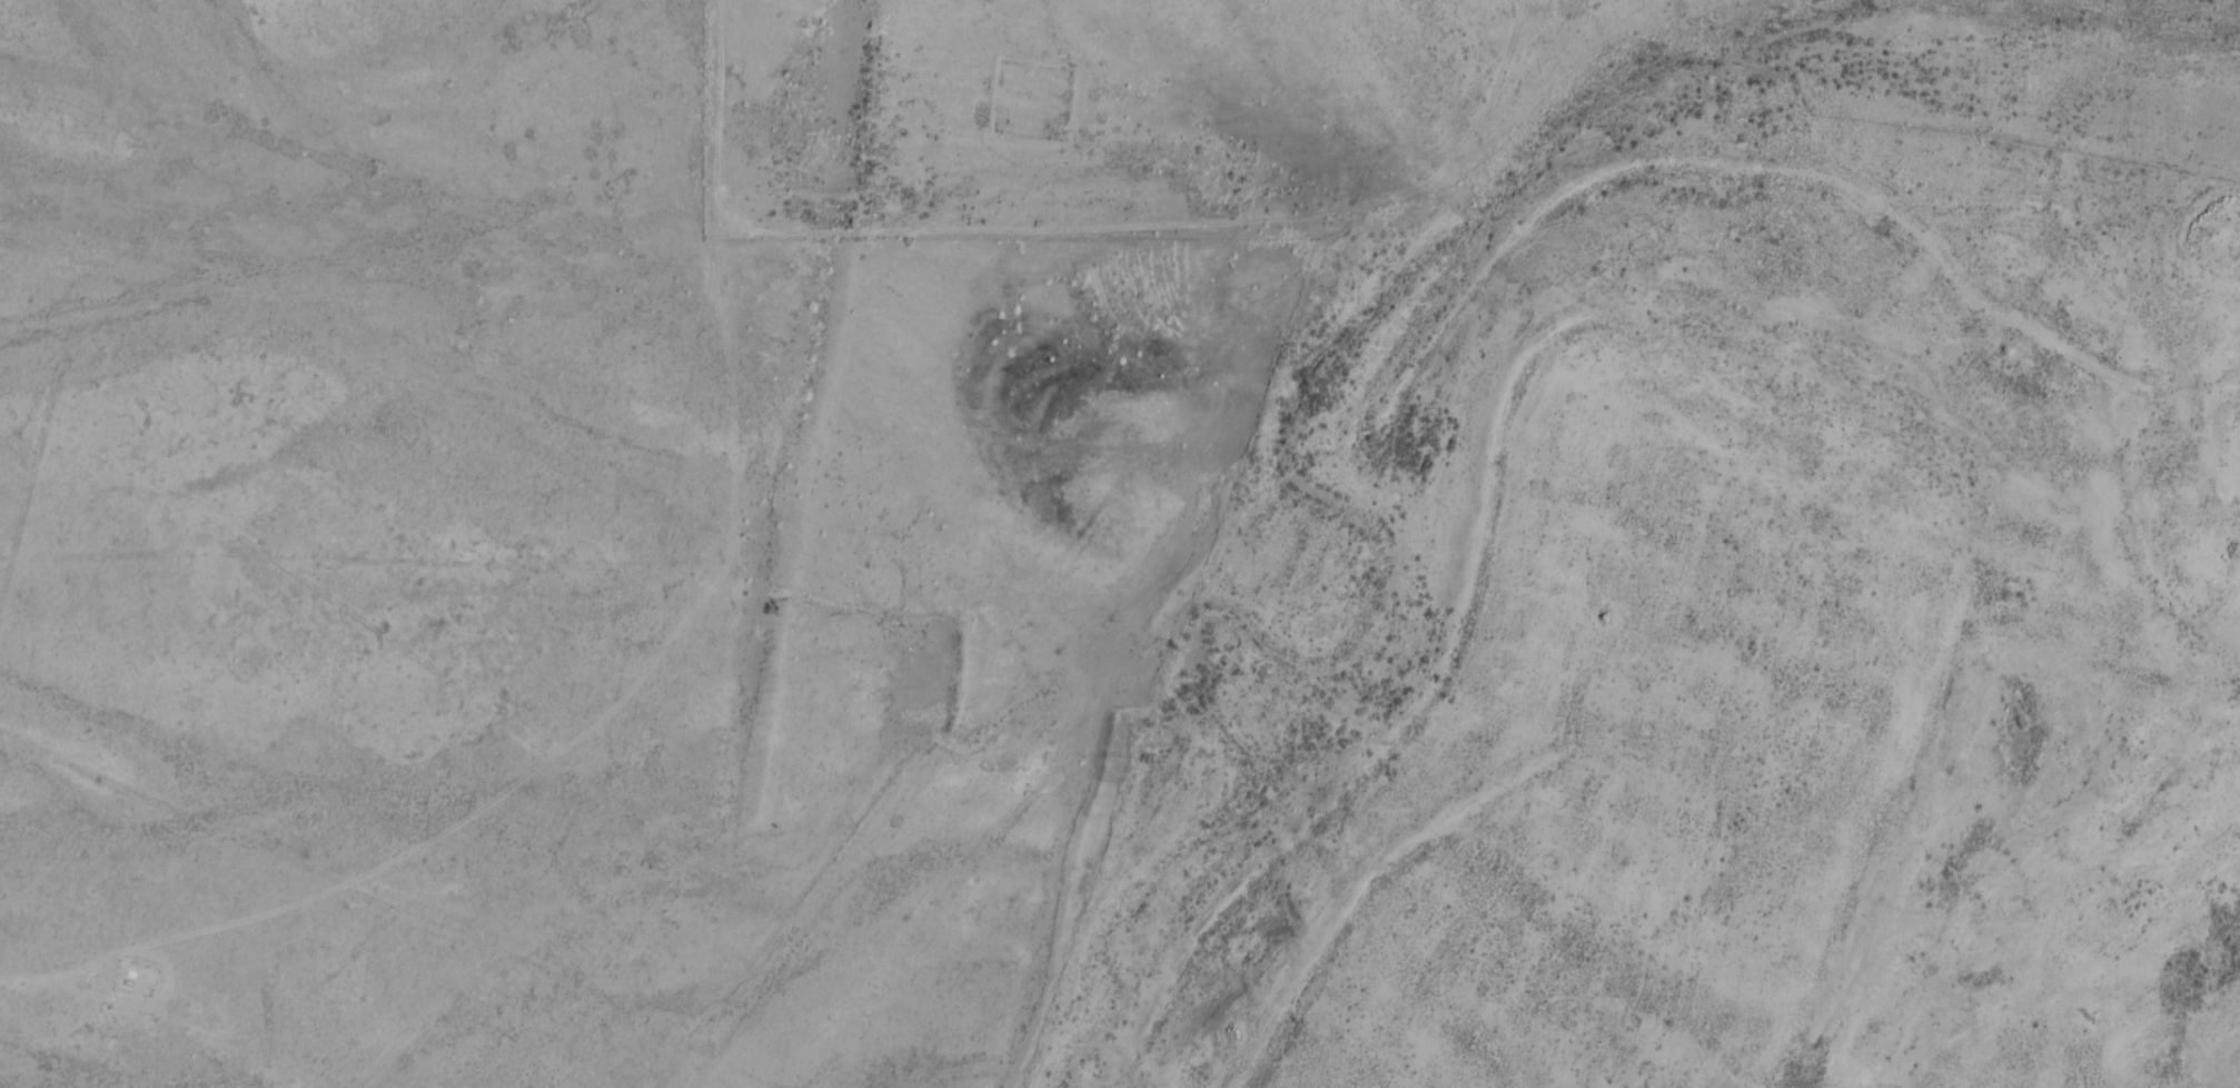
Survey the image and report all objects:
quarry: (1411, 1044)

